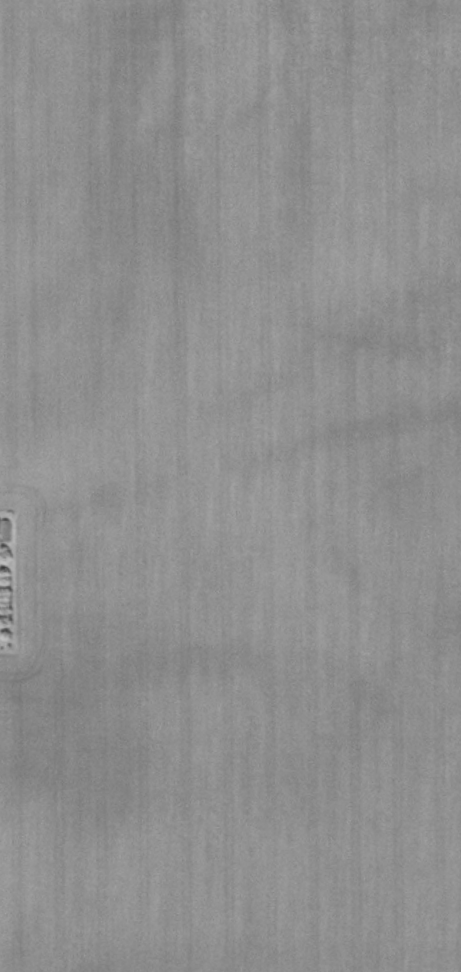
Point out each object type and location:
building: (1, 528)

